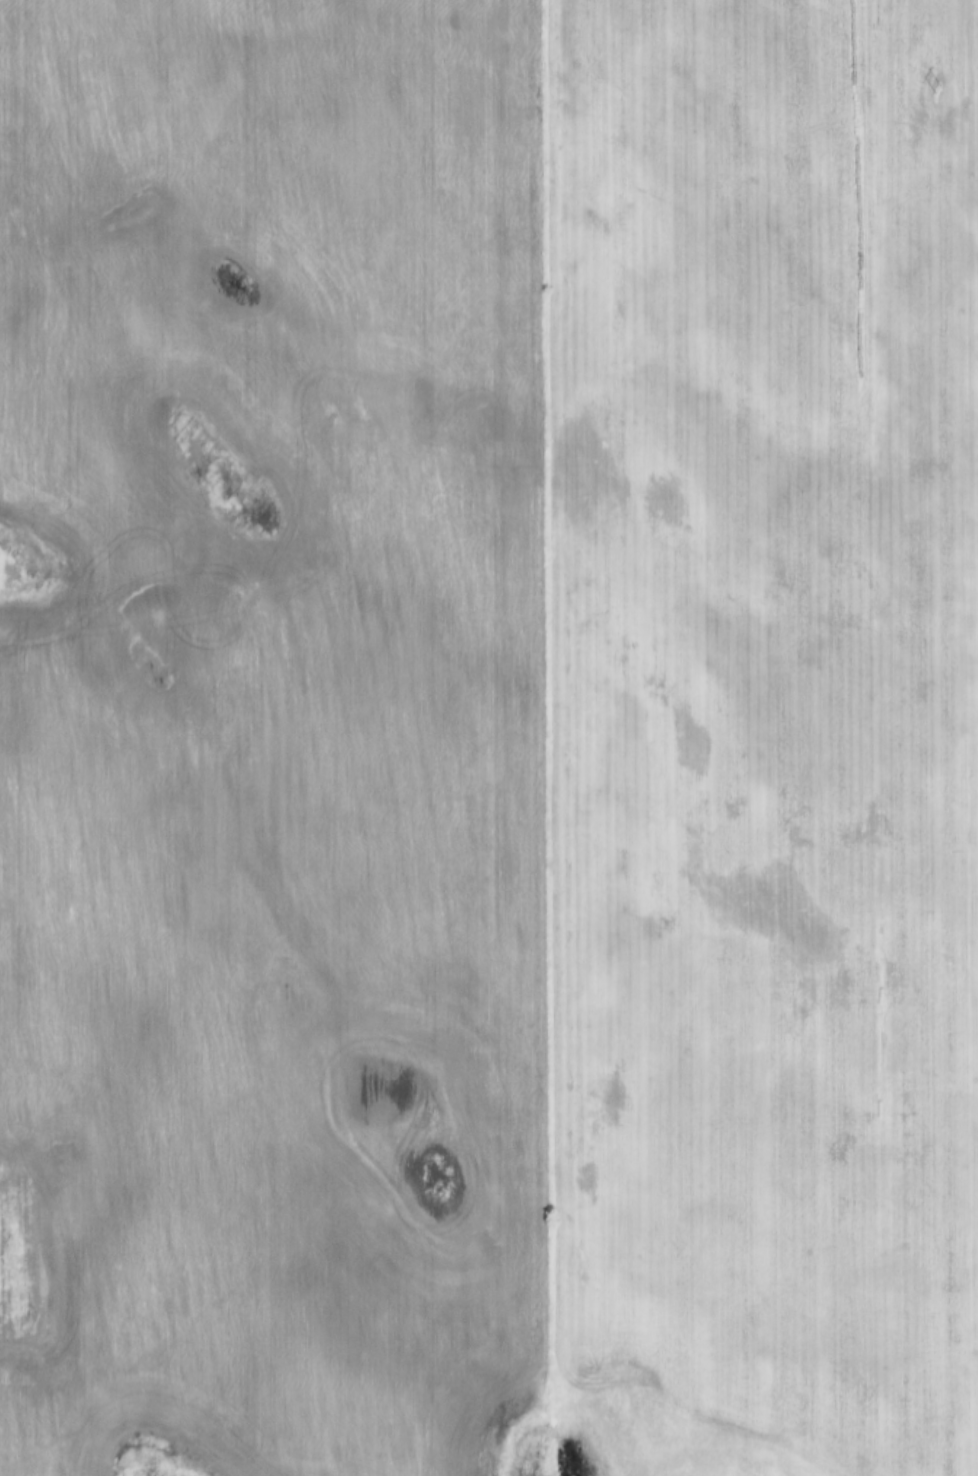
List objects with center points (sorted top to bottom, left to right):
power tower: (936, 87)

